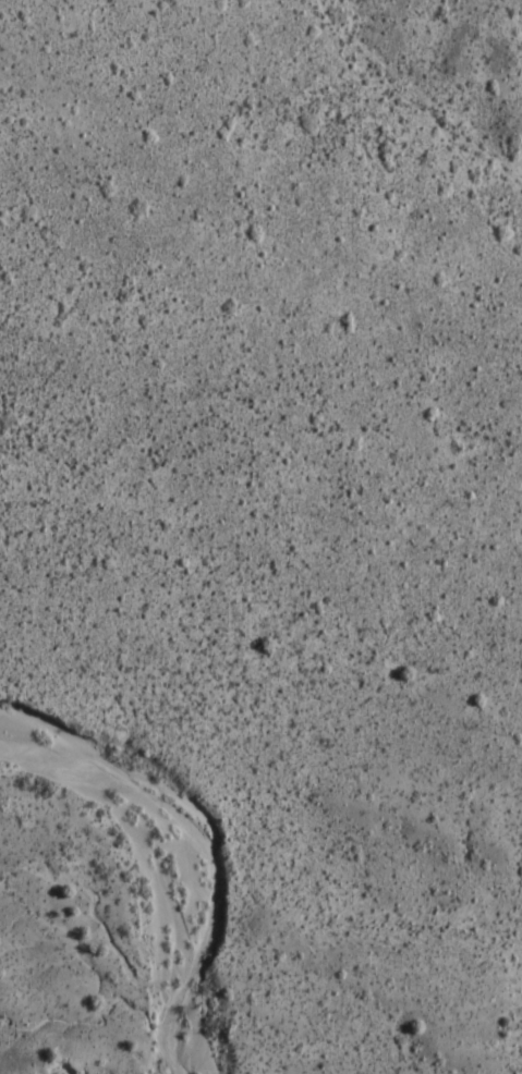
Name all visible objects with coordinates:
river: (175, 851)

